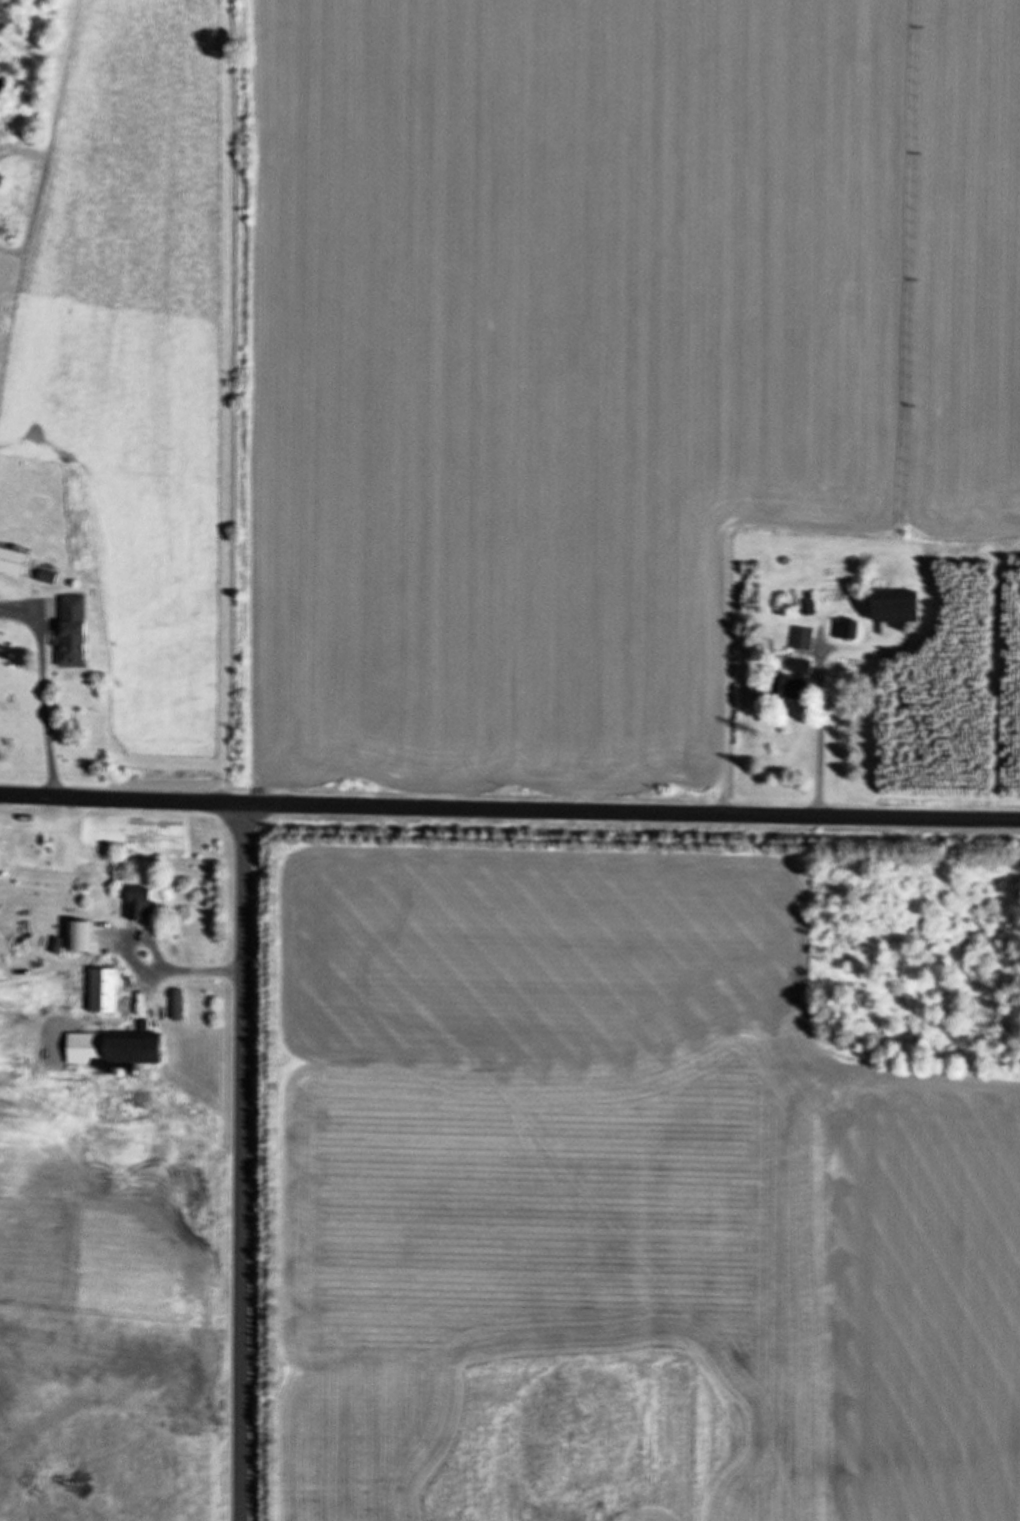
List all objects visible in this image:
building: (12, 561)
building: (47, 576)
building: (890, 607)
building: (845, 629)
building: (802, 639)
building: (70, 647)
building: (791, 680)
road: (509, 809)
building: (138, 903)
building: (110, 948)
building: (101, 990)
building: (175, 1004)
building: (113, 1046)
road: (243, 1162)

